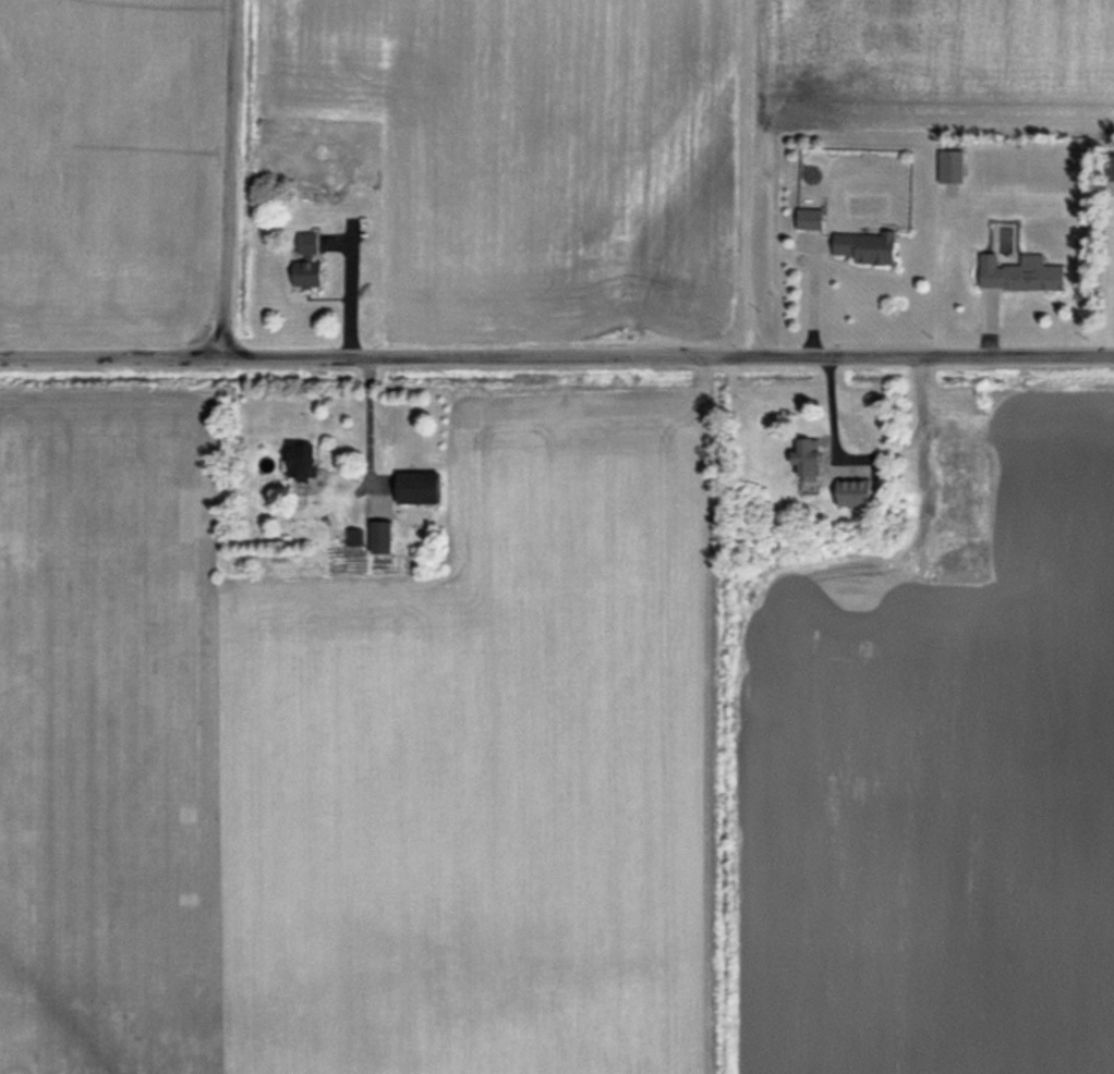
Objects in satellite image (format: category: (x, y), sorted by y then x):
road: (743, 174)
road: (225, 175)
building: (869, 247)
building: (310, 263)
building: (1021, 273)
road: (557, 350)
road: (368, 416)
building: (304, 459)
building: (812, 459)
building: (960, 459)
building: (422, 487)
building: (968, 556)

